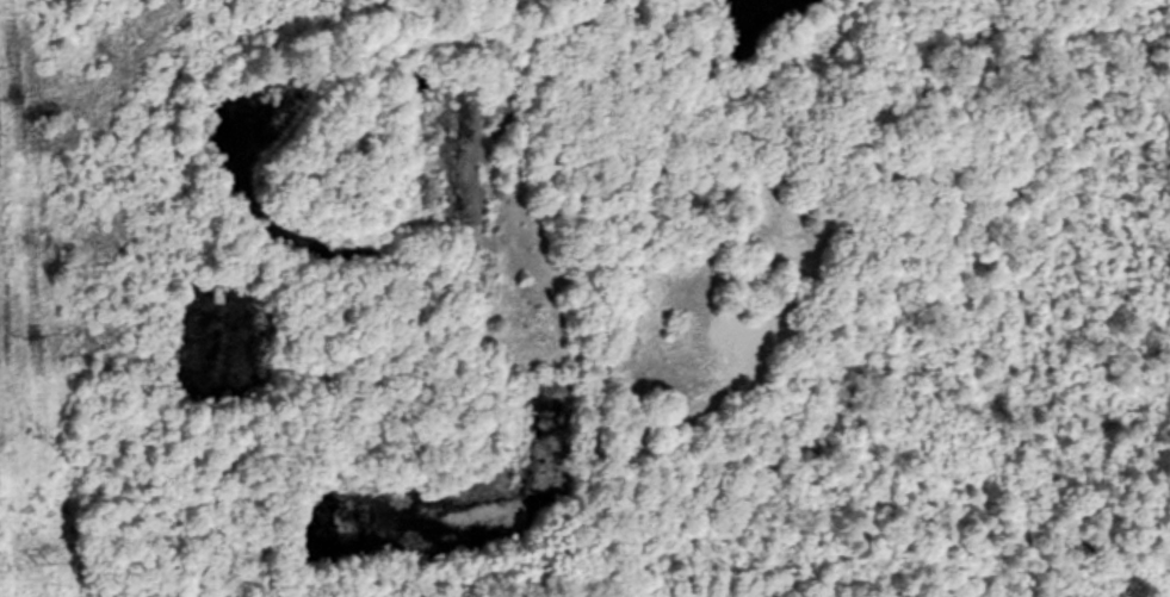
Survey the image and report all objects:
power tower: (1, 69)
power tower: (52, 551)

